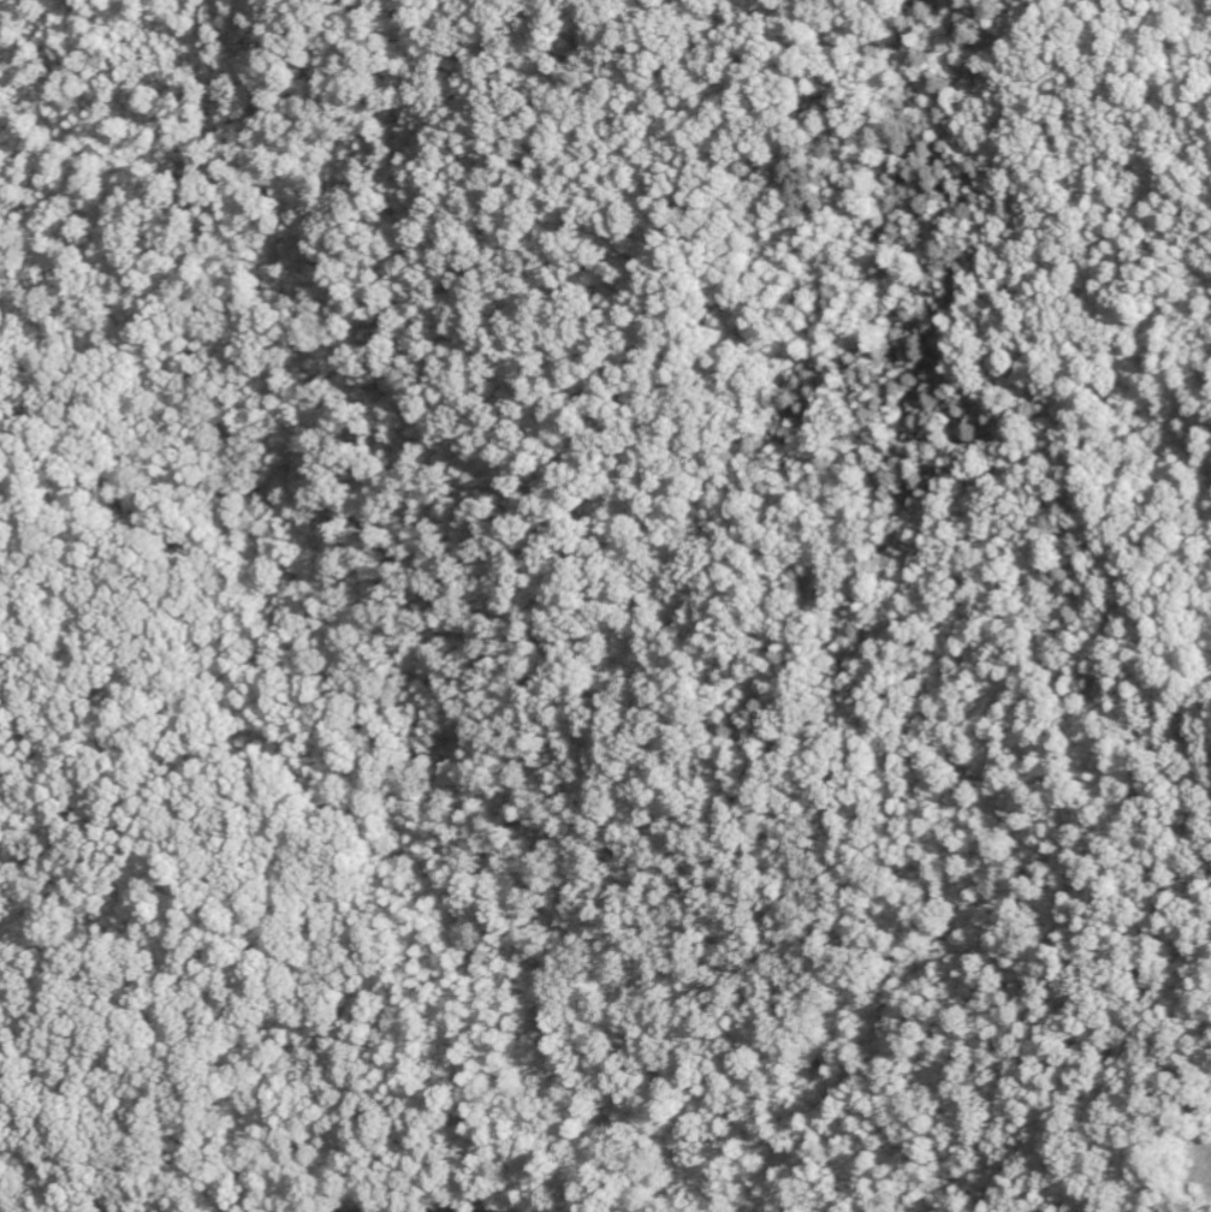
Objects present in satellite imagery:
road: (1147, 1088)

